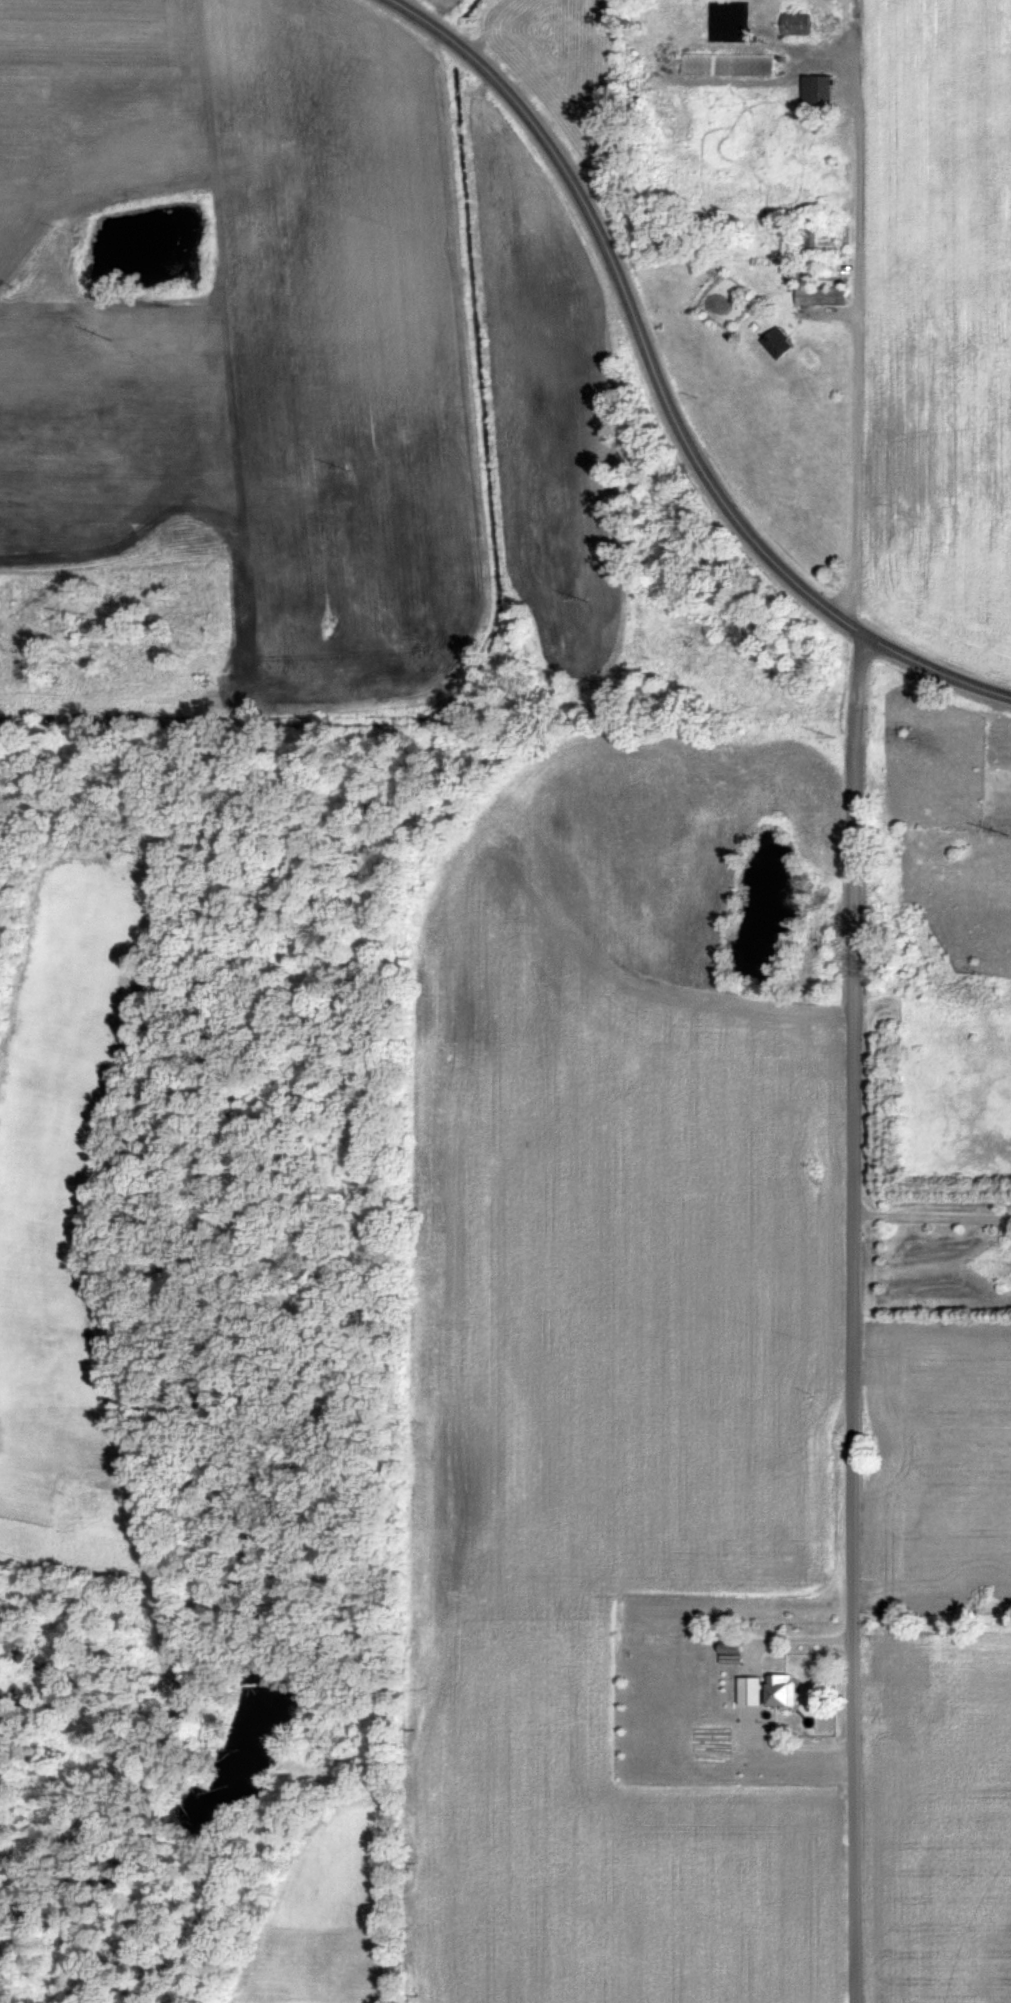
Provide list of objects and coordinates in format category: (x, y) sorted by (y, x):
building: (799, 25)
building: (732, 66)
building: (823, 94)
building: (810, 240)
building: (822, 295)
power tower: (106, 338)
building: (780, 344)
road: (662, 390)
power tower: (357, 472)
power tower: (586, 602)
road: (856, 679)
road: (932, 720)
power tower: (833, 736)
power tower: (1006, 834)
road: (854, 1361)
building: (736, 1655)
building: (757, 1692)
building: (788, 1693)
building: (756, 1724)

